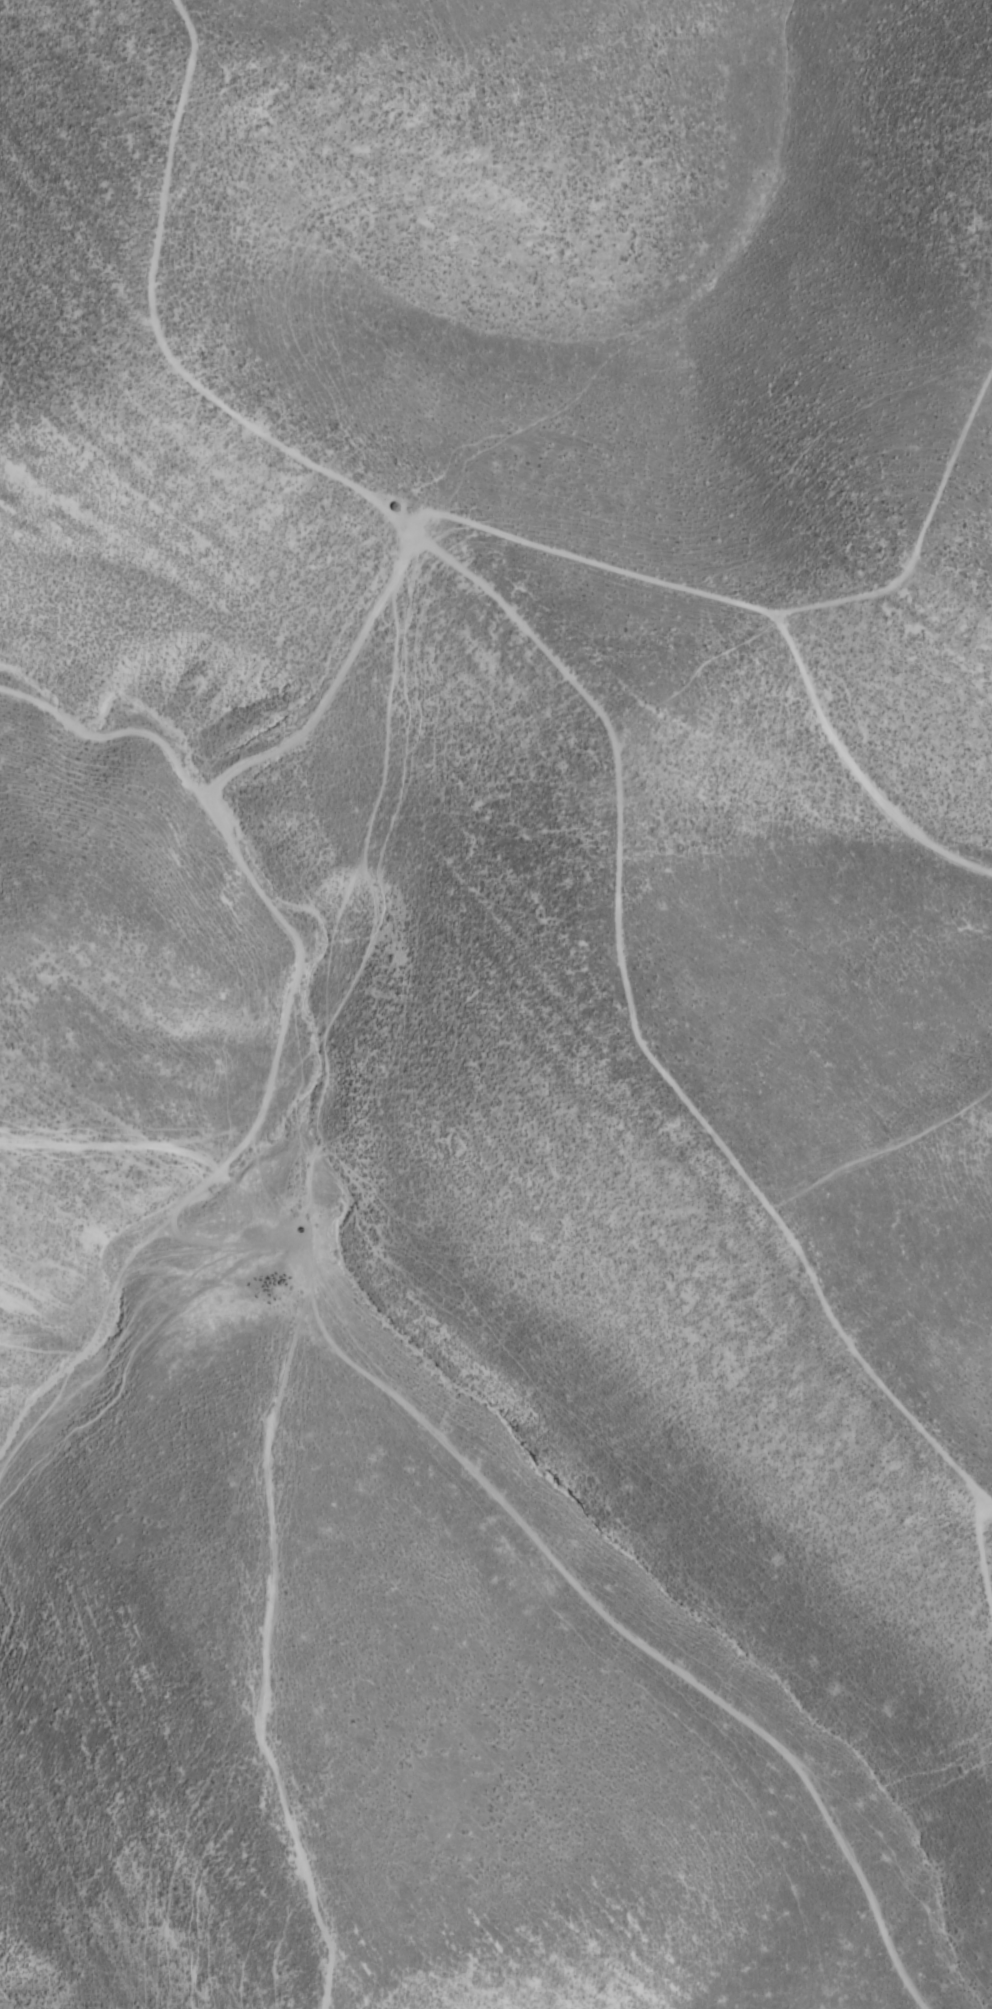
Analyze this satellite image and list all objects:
road: (156, 271)
storage tank: (395, 507)
road: (682, 588)
road: (964, 861)
road: (639, 1024)
road: (984, 1510)
road: (264, 1570)
road: (836, 1829)

